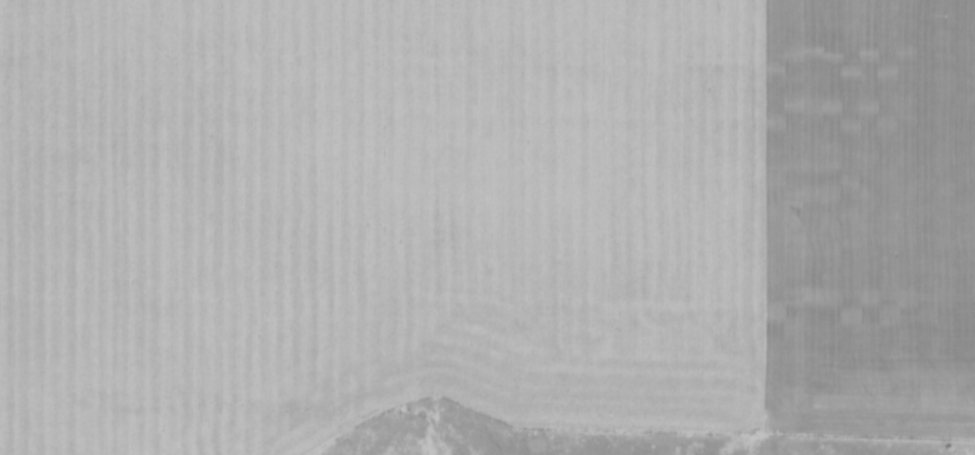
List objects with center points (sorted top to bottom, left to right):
crop: (866, 217)
crop: (372, 218)

